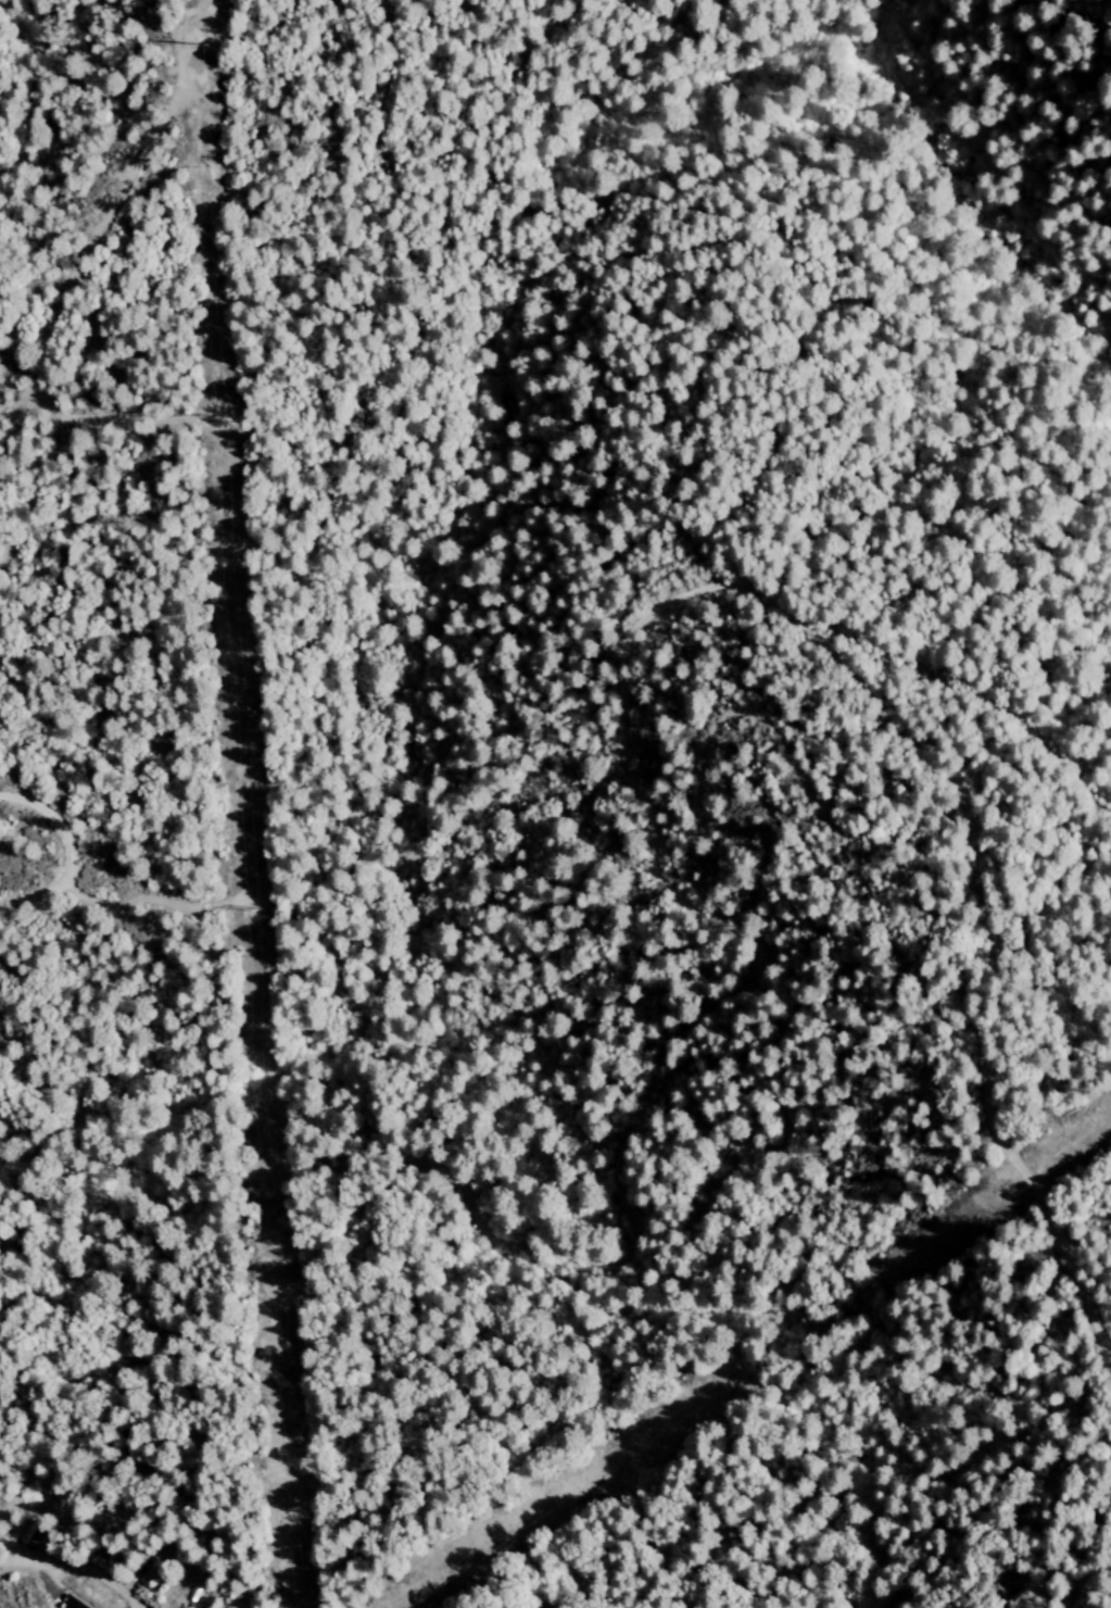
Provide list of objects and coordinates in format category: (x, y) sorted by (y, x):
power tower: (207, 45)
power tower: (235, 414)
power tower: (1013, 1193)
power tower: (314, 1542)

